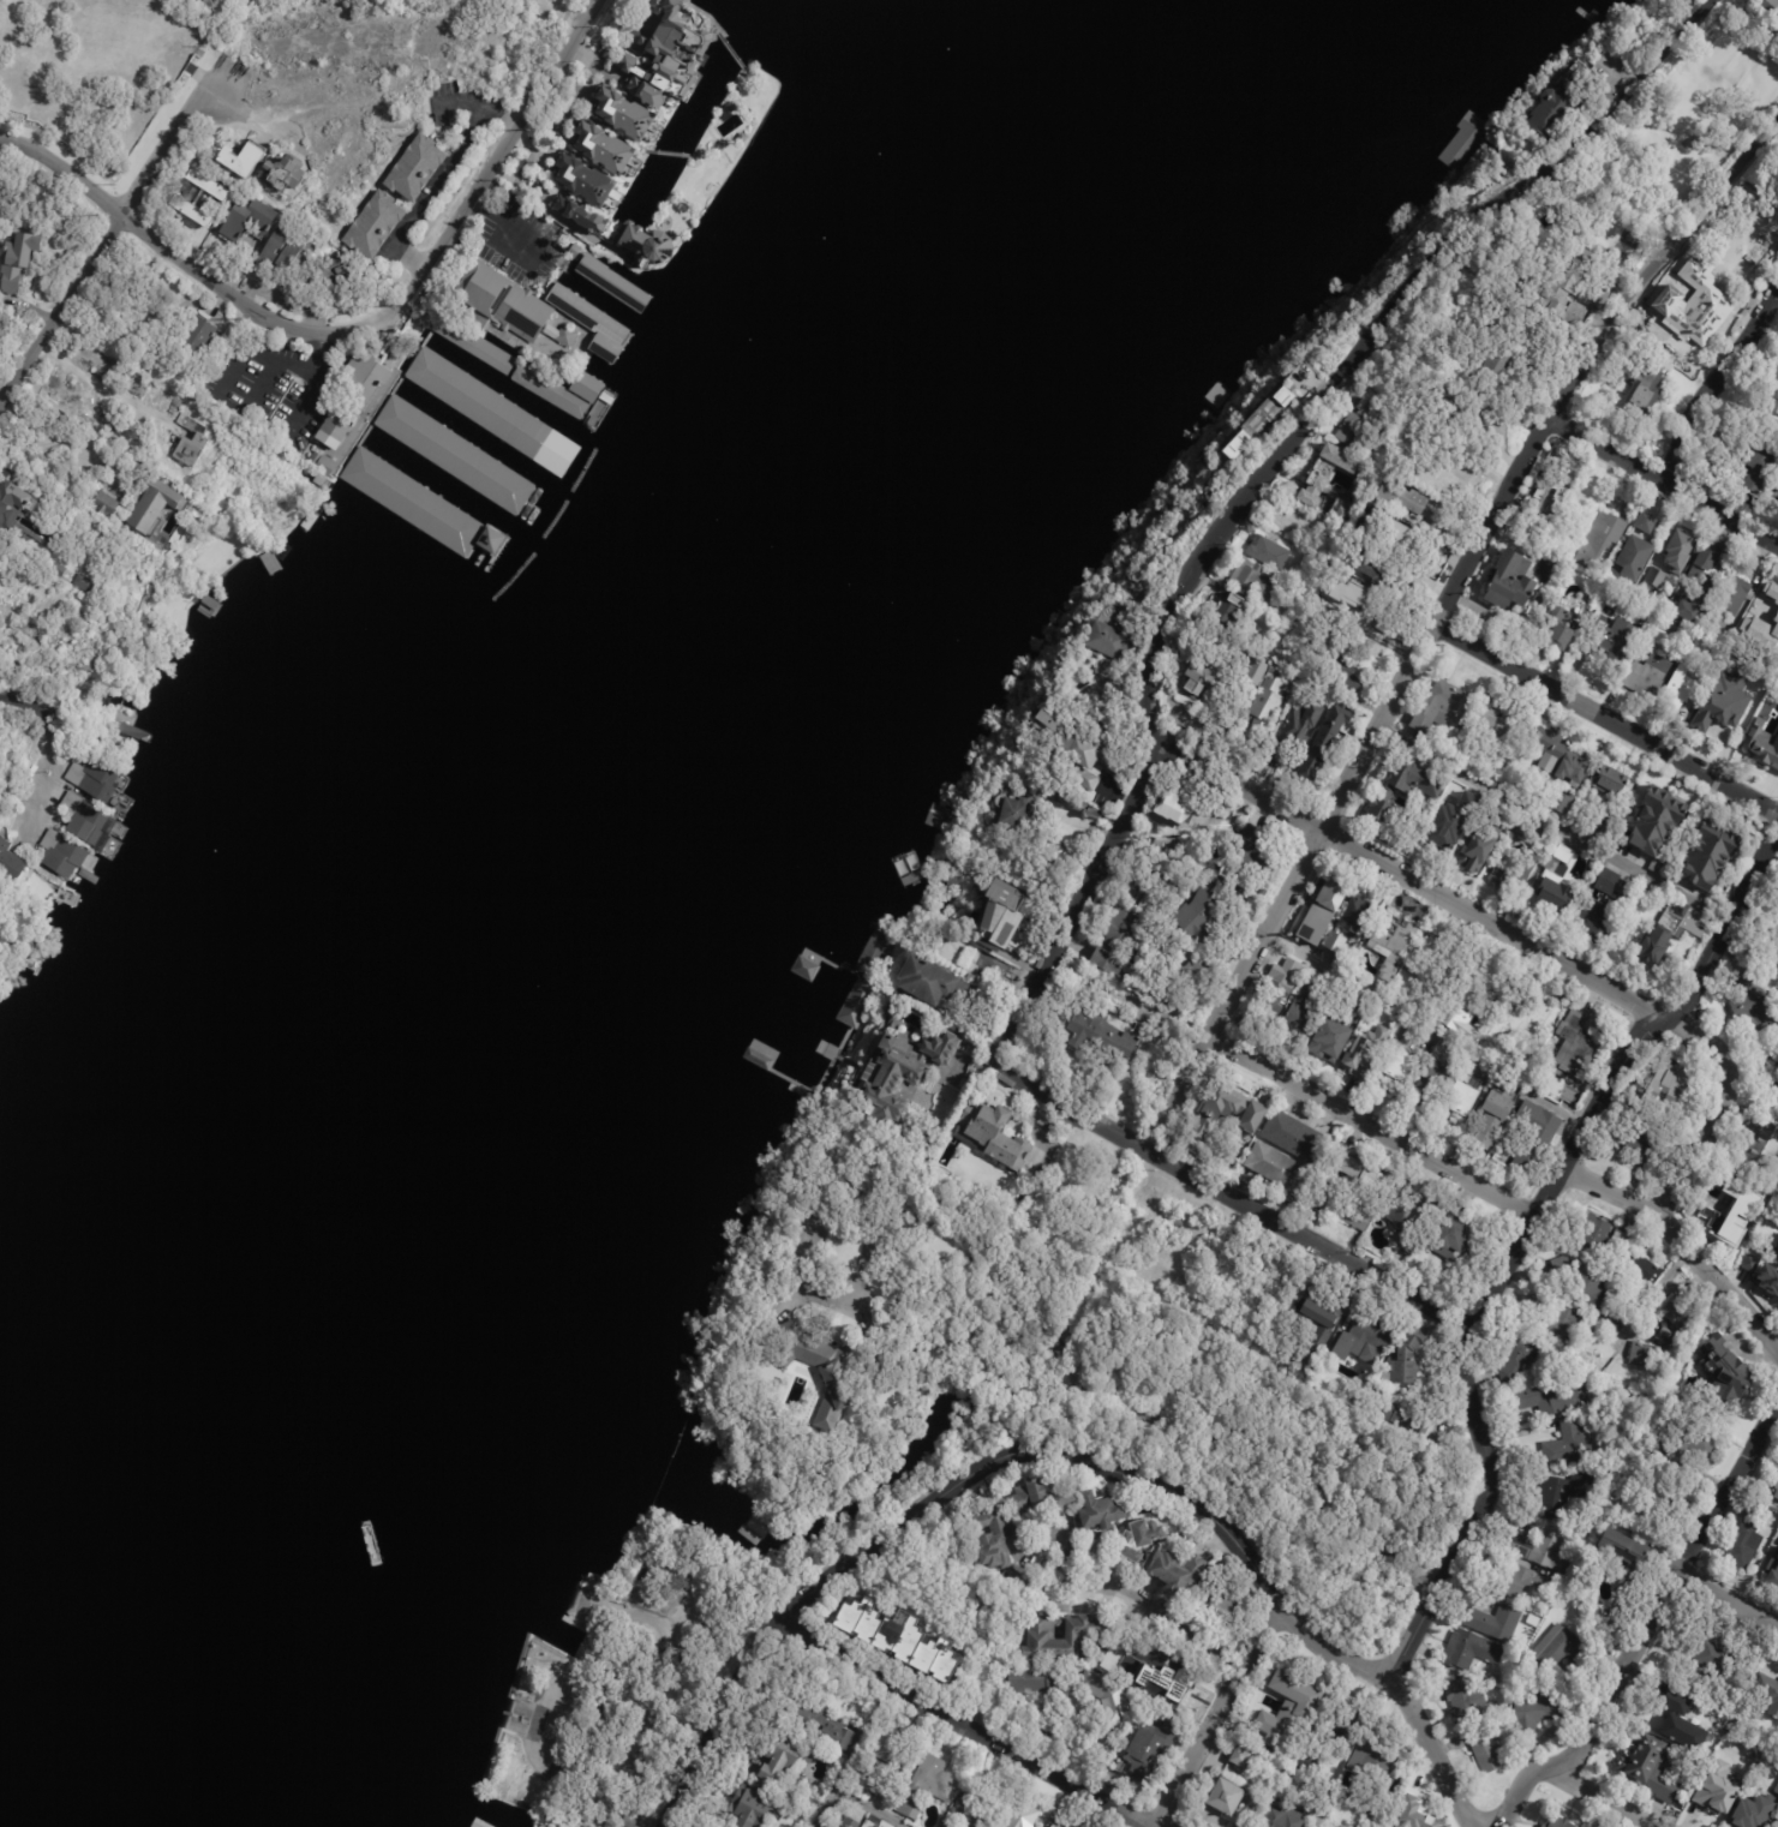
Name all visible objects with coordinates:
building: (1771, 8)
building: (664, 53)
building: (25, 54)
building: (616, 77)
building: (14, 97)
building: (1562, 103)
building: (624, 110)
road: (179, 137)
building: (604, 145)
building: (1453, 155)
building: (243, 161)
building: (417, 169)
building: (279, 176)
road: (502, 176)
building: (583, 179)
road: (439, 180)
building: (199, 181)
road: (534, 200)
building: (192, 210)
building: (580, 214)
building: (246, 221)
building: (375, 226)
building: (647, 244)
building: (274, 247)
building: (1736, 247)
building: (574, 250)
building: (19, 259)
building: (291, 260)
road: (1656, 263)
building: (323, 272)
building: (122, 281)
building: (1563, 289)
building: (170, 293)
building: (498, 302)
road: (61, 304)
building: (574, 306)
road: (355, 325)
building: (1514, 325)
building: (561, 334)
building: (197, 337)
road: (1375, 337)
building: (472, 345)
building: (1497, 369)
building: (564, 376)
road: (1713, 384)
road: (103, 387)
building: (1641, 389)
building: (556, 390)
building: (354, 391)
building: (1774, 393)
road: (1, 394)
building: (484, 406)
building: (1460, 413)
building: (1261, 420)
building: (1363, 424)
road: (61, 443)
building: (188, 451)
building: (454, 455)
building: (322, 463)
building: (1762, 466)
building: (1330, 473)
building: (1431, 474)
road: (1663, 480)
building: (394, 486)
building: (1547, 501)
building: (12, 502)
building: (1412, 502)
building: (103, 503)
building: (150, 504)
building: (1342, 514)
building: (1648, 520)
building: (1385, 528)
building: (1602, 539)
building: (1674, 547)
building: (1269, 551)
building: (1636, 557)
building: (56, 569)
building: (1373, 571)
building: (1252, 580)
building: (1510, 581)
building: (1702, 582)
building: (86, 583)
building: (1354, 594)
building: (1735, 594)
building: (1228, 612)
building: (1585, 616)
building: (1768, 621)
building: (1712, 622)
road: (1435, 623)
building: (1555, 629)
building: (1330, 634)
building: (1614, 640)
building: (1110, 641)
building: (1219, 643)
building: (1777, 670)
building: (1256, 672)
building: (1777, 672)
building: (1648, 675)
building: (1202, 676)
building: (1346, 677)
building: (1680, 689)
building: (1724, 702)
building: (1267, 705)
building: (1441, 707)
road: (1606, 718)
road: (42, 720)
building: (1501, 720)
building: (1047, 721)
building: (1295, 731)
building: (1760, 743)
building: (1324, 744)
building: (1085, 750)
building: (1562, 757)
building: (92, 778)
building: (1079, 778)
building: (1610, 780)
road: (1243, 784)
building: (1405, 785)
building: (1469, 801)
building: (1560, 802)
building: (1013, 804)
building: (1079, 805)
building: (1173, 808)
building: (1656, 820)
building: (88, 821)
road: (1552, 825)
building: (1448, 828)
building: (1527, 829)
building: (1483, 844)
building: (1255, 852)
building: (1710, 853)
building: (60, 855)
building: (1570, 858)
building: (8, 862)
river: (598, 862)
building: (1663, 868)
building: (1209, 869)
building: (1514, 873)
building: (1615, 885)
building: (1642, 889)
building: (1263, 892)
building: (1555, 893)
building: (1050, 895)
road: (1077, 899)
building: (1145, 899)
building: (1203, 911)
building: (1324, 911)
building: (999, 917)
building: (1598, 921)
building: (1352, 923)
road: (1493, 923)
road: (1726, 929)
building: (1671, 934)
building: (1431, 945)
building: (1393, 946)
building: (874, 954)
building: (1109, 958)
building: (1418, 969)
building: (932, 983)
road: (1237, 990)
building: (1277, 992)
building: (1468, 1004)
building: (1758, 1006)
building: (1304, 1010)
building: (1357, 1013)
building: (1525, 1023)
building: (1098, 1032)
building: (1331, 1041)
building: (1575, 1048)
building: (1366, 1053)
building: (1405, 1056)
building: (1525, 1068)
building: (902, 1077)
building: (1770, 1078)
building: (1433, 1080)
building: (1671, 1088)
building: (1467, 1090)
road: (1717, 1109)
building: (1227, 1113)
building: (1493, 1121)
road: (1375, 1127)
building: (994, 1136)
building: (1535, 1136)
building: (1295, 1138)
building: (1642, 1143)
building: (1761, 1150)
building: (1328, 1167)
building: (1279, 1168)
building: (1366, 1176)
road: (1233, 1198)
building: (1729, 1203)
building: (1342, 1206)
building: (1412, 1214)
building: (1761, 1227)
building: (1596, 1234)
building: (1777, 1236)
building: (1456, 1240)
building: (1621, 1241)
road: (1683, 1242)
building: (1408, 1248)
building: (1776, 1252)
building: (1749, 1263)
building: (1566, 1264)
building: (1777, 1270)
building: (1776, 1283)
building: (1590, 1284)
building: (1630, 1294)
building: (1535, 1314)
building: (1562, 1324)
road: (1469, 1334)
building: (1664, 1335)
building: (1361, 1346)
building: (1523, 1355)
building: (1407, 1359)
building: (822, 1373)
building: (1724, 1376)
road: (1118, 1389)
building: (1557, 1396)
building: (1406, 1419)
building: (1688, 1445)
building: (1569, 1446)
building: (1777, 1487)
building: (1564, 1493)
building: (1777, 1494)
building: (1043, 1496)
road: (1177, 1496)
building: (1659, 1502)
building: (1098, 1511)
building: (996, 1537)
road: (1044, 1537)
building: (1139, 1539)
building: (1747, 1540)
building: (1544, 1551)
building: (1628, 1559)
building: (1773, 1570)
building: (1177, 1571)
road: (1071, 1583)
building: (1205, 1583)
building: (1561, 1583)
building: (1522, 1585)
road: (1665, 1586)
road: (797, 1594)
road: (1725, 1600)
building: (1229, 1603)
road: (1147, 1606)
building: (1495, 1624)
building: (1086, 1631)
building: (1592, 1633)
building: (898, 1636)
building: (1561, 1649)
building: (1097, 1652)
building: (1472, 1652)
building: (1713, 1654)
park: (635, 1677)
building: (1035, 1679)
building: (1157, 1684)
building: (1297, 1693)
road: (1401, 1693)
building: (1766, 1696)
building: (1107, 1706)
building: (1471, 1706)
building: (1539, 1713)
road: (1219, 1718)
road: (971, 1719)
building: (1682, 1719)
building: (820, 1723)
building: (1038, 1724)
building: (1347, 1731)
building: (1759, 1741)
building: (1732, 1744)
building: (1153, 1747)
building: (1487, 1749)
building: (892, 1750)
road: (852, 1751)
building: (783, 1753)
building: (1240, 1756)
building: (1309, 1761)
building: (1653, 1767)
building: (1376, 1771)
building: (1731, 1772)
building: (934, 1779)
building: (874, 1784)
road: (1516, 1790)
building: (1716, 1790)
building: (1777, 1790)
building: (1227, 1796)
road: (1602, 1797)
building: (753, 1807)
building: (908, 1808)
building: (1324, 1810)
building: (1412, 1810)
building: (975, 1811)
building: (1755, 1814)
building: (1282, 1817)
building: (1387, 1819)
building: (1017, 1820)
building: (1558, 1821)
building: (850, 1822)
building: (948, 1825)
building: (1086, 1825)
building: (1777, 1825)
building: (822, 1826)
building: (1080, 1826)

